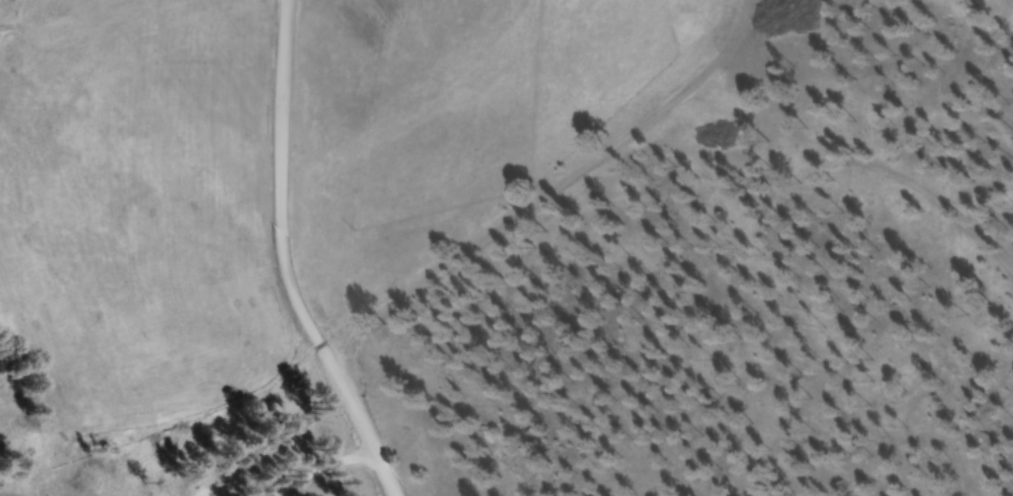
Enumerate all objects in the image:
road: (537, 187)
road: (274, 194)
road: (368, 435)

